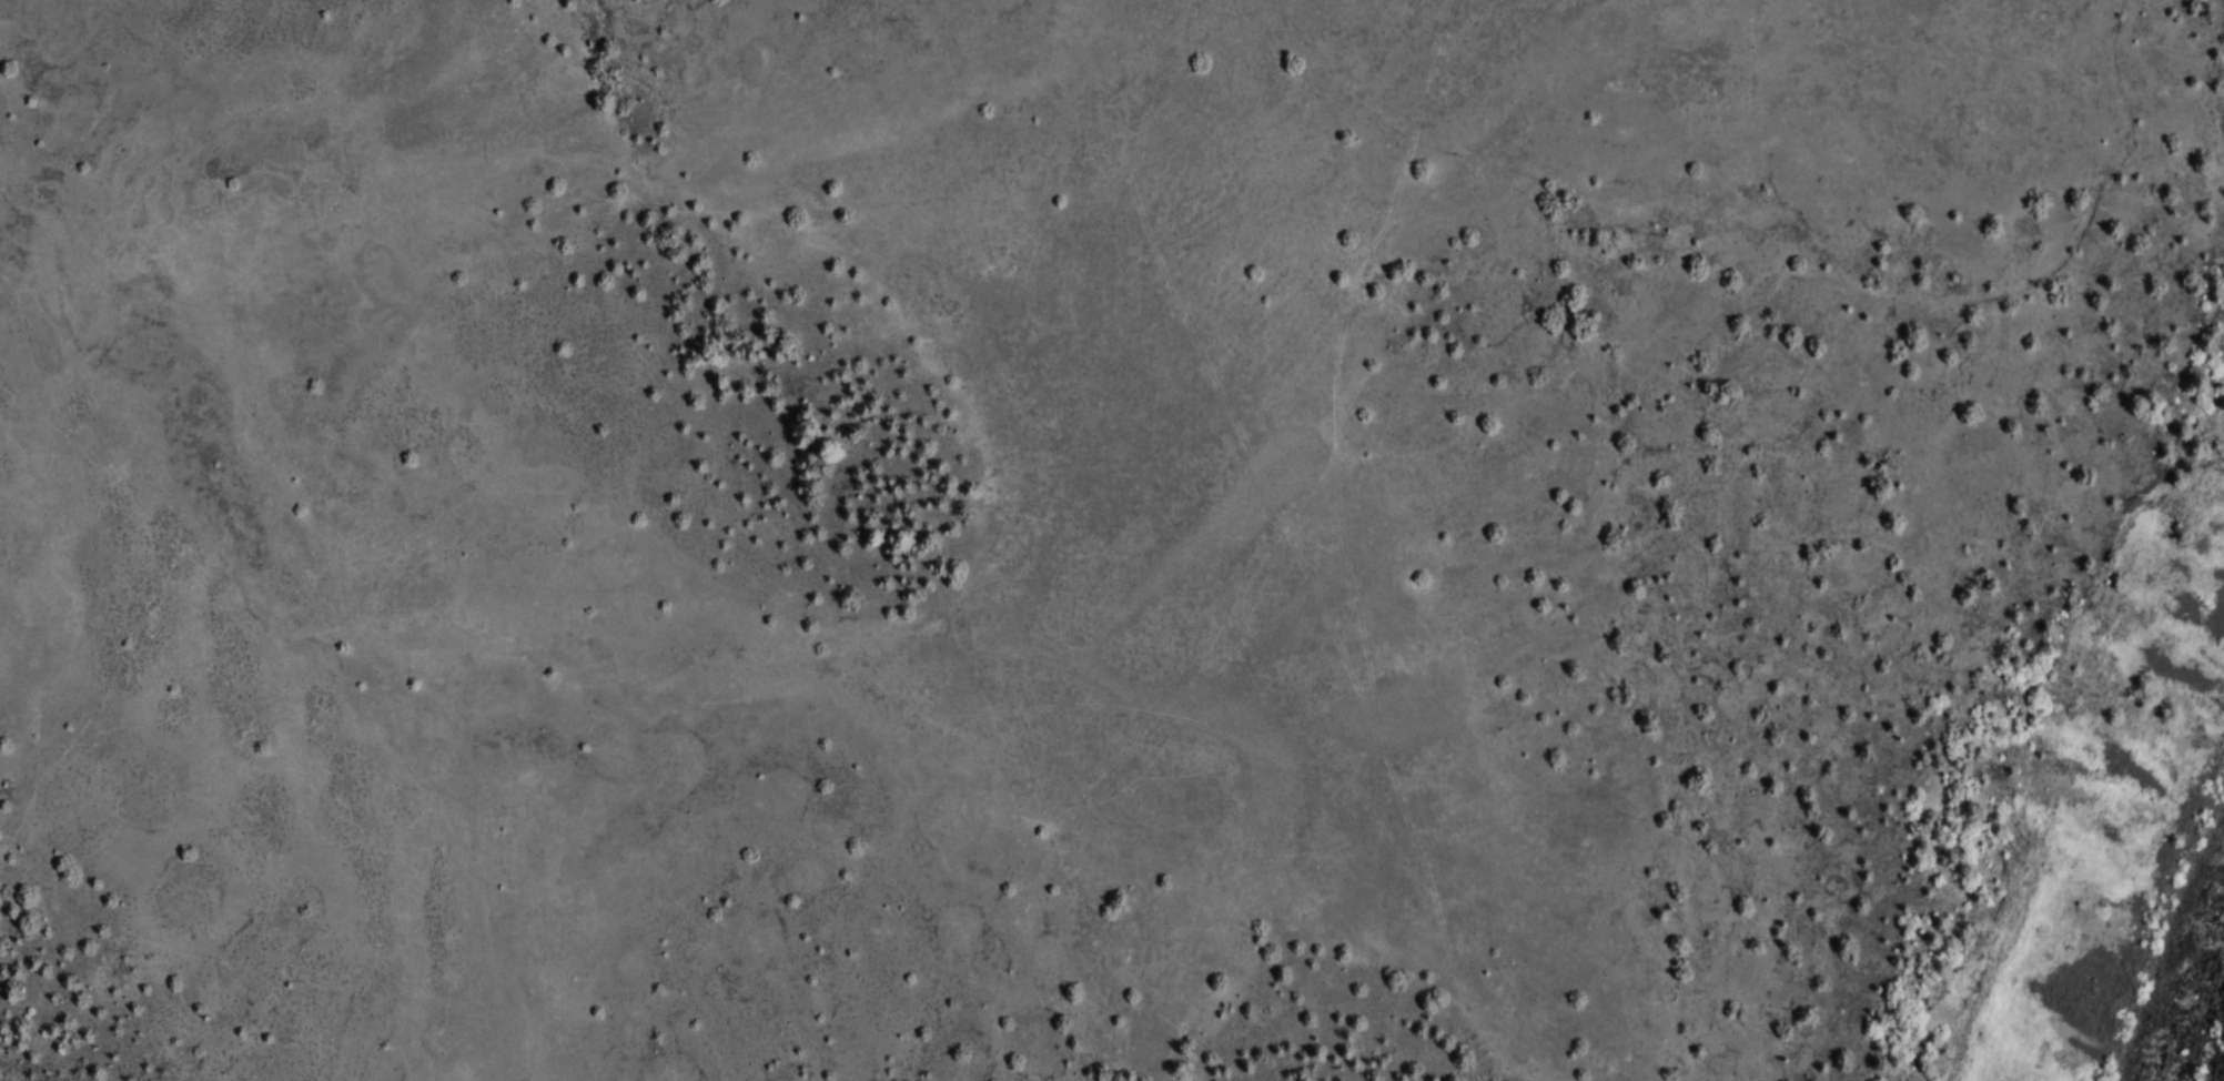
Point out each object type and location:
river: (2194, 1009)

